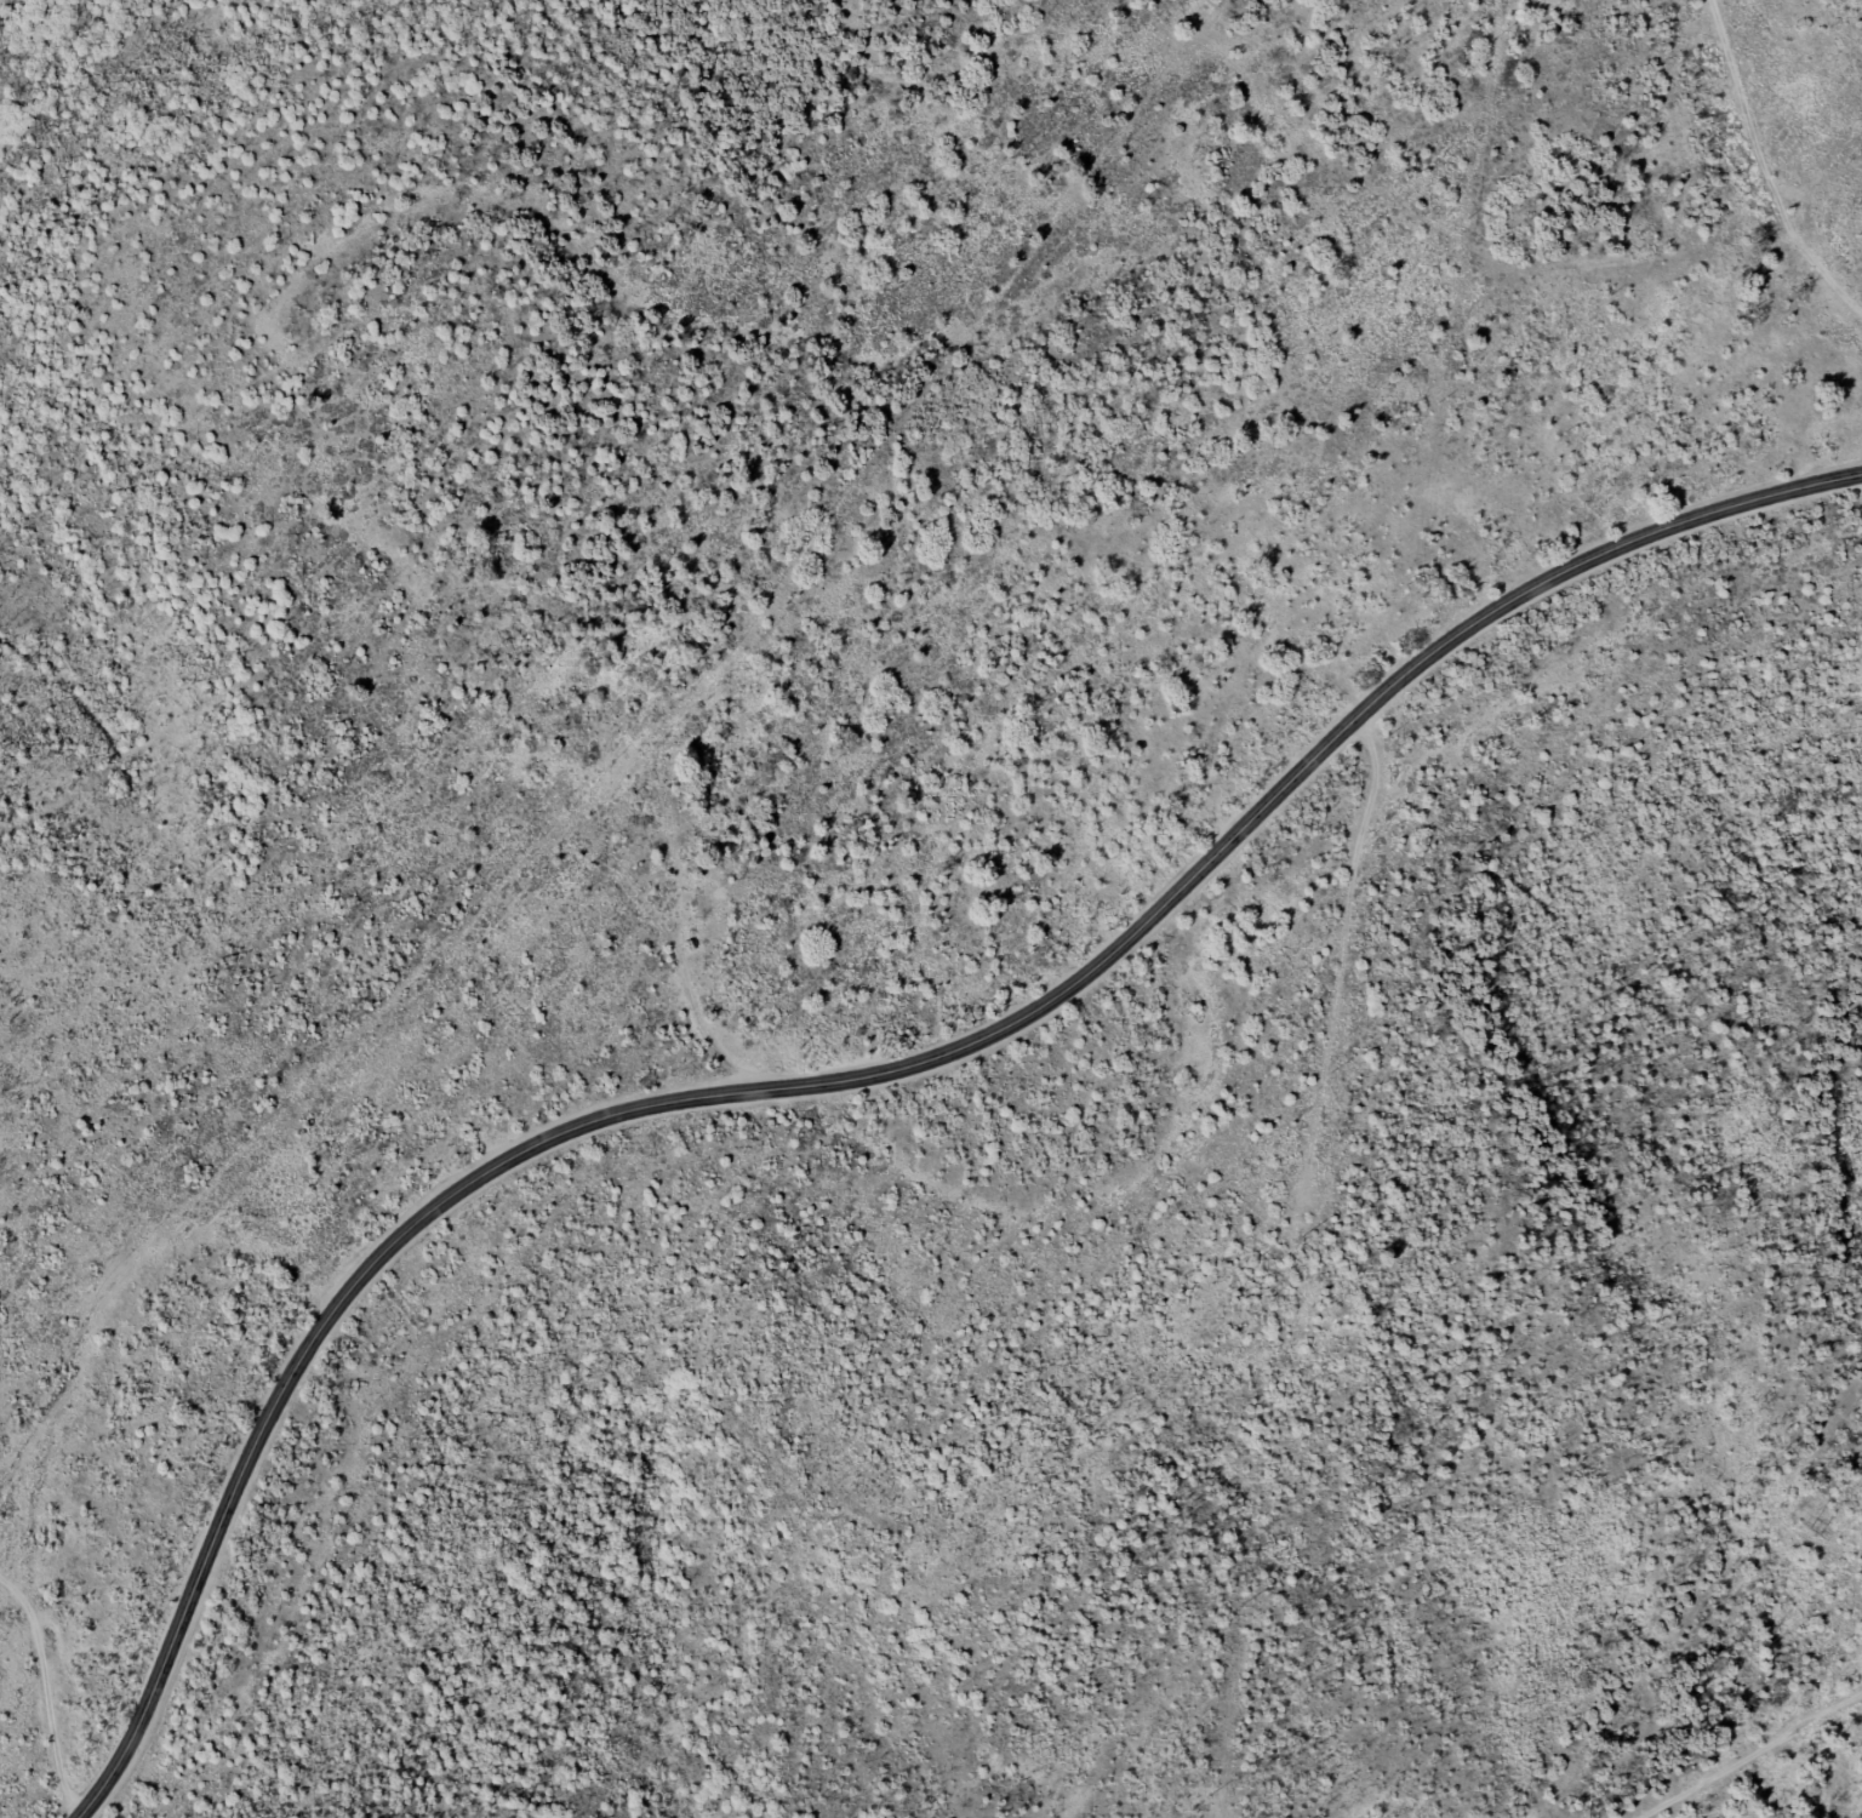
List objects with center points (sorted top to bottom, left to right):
road: (1857, 158)
road: (1763, 166)
road: (1816, 176)
park: (923, 901)
road: (699, 953)
road: (874, 1076)
road: (52, 1685)
road: (1738, 1745)

